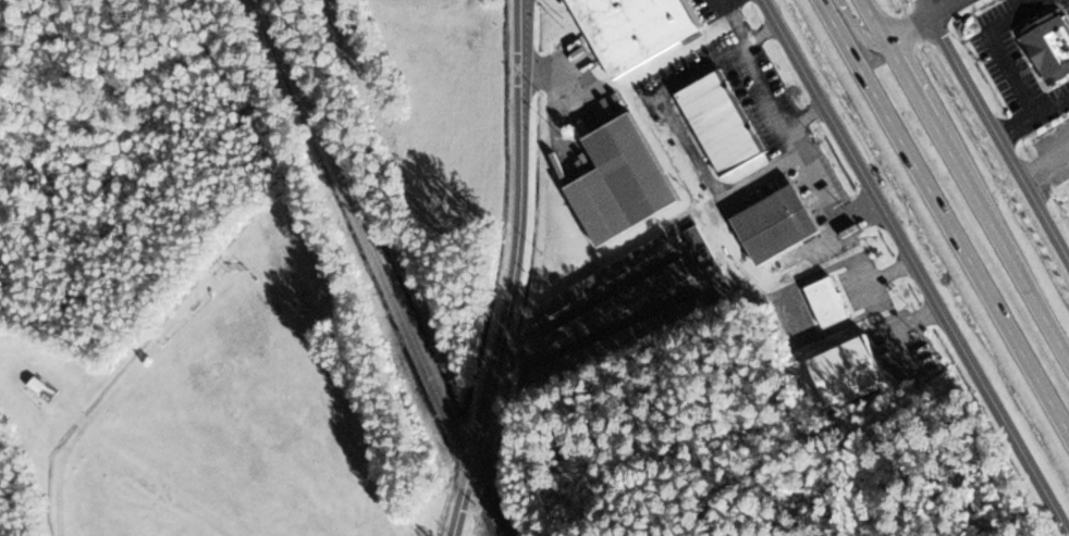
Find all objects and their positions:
road: (942, 7)
road: (874, 20)
road: (908, 26)
road: (857, 28)
building: (634, 29)
building: (1049, 46)
road: (916, 91)
building: (720, 122)
road: (995, 128)
building: (618, 180)
road: (945, 215)
building: (774, 224)
railway: (367, 232)
road: (519, 234)
road: (1007, 250)
building: (709, 261)
road: (916, 265)
building: (607, 274)
building: (667, 278)
building: (826, 302)
building: (577, 324)
building: (650, 325)
building: (36, 385)
road: (464, 500)
railway: (487, 500)

